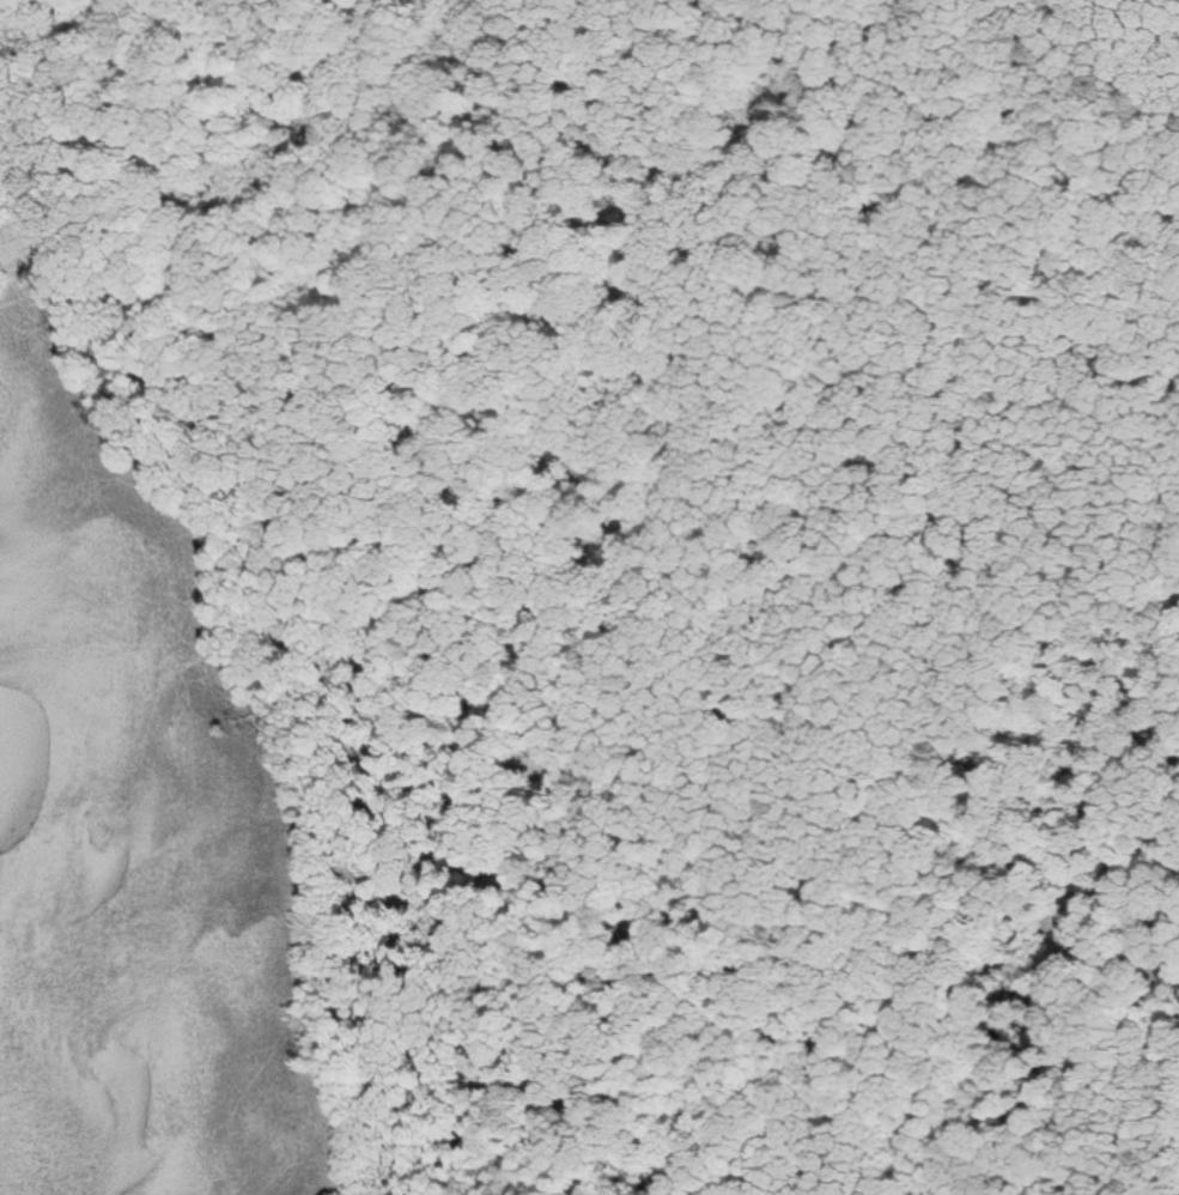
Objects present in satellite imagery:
park: (589, 597)

